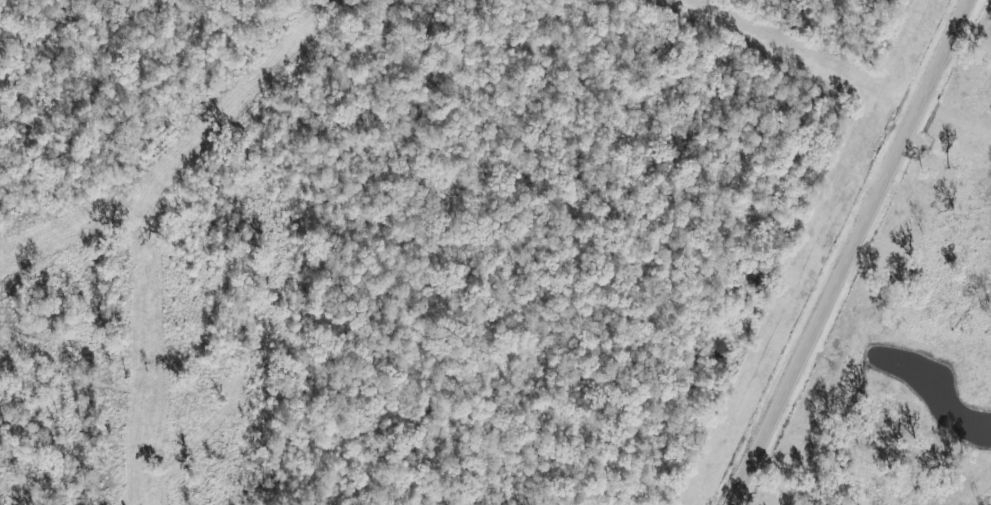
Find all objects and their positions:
road: (850, 252)

